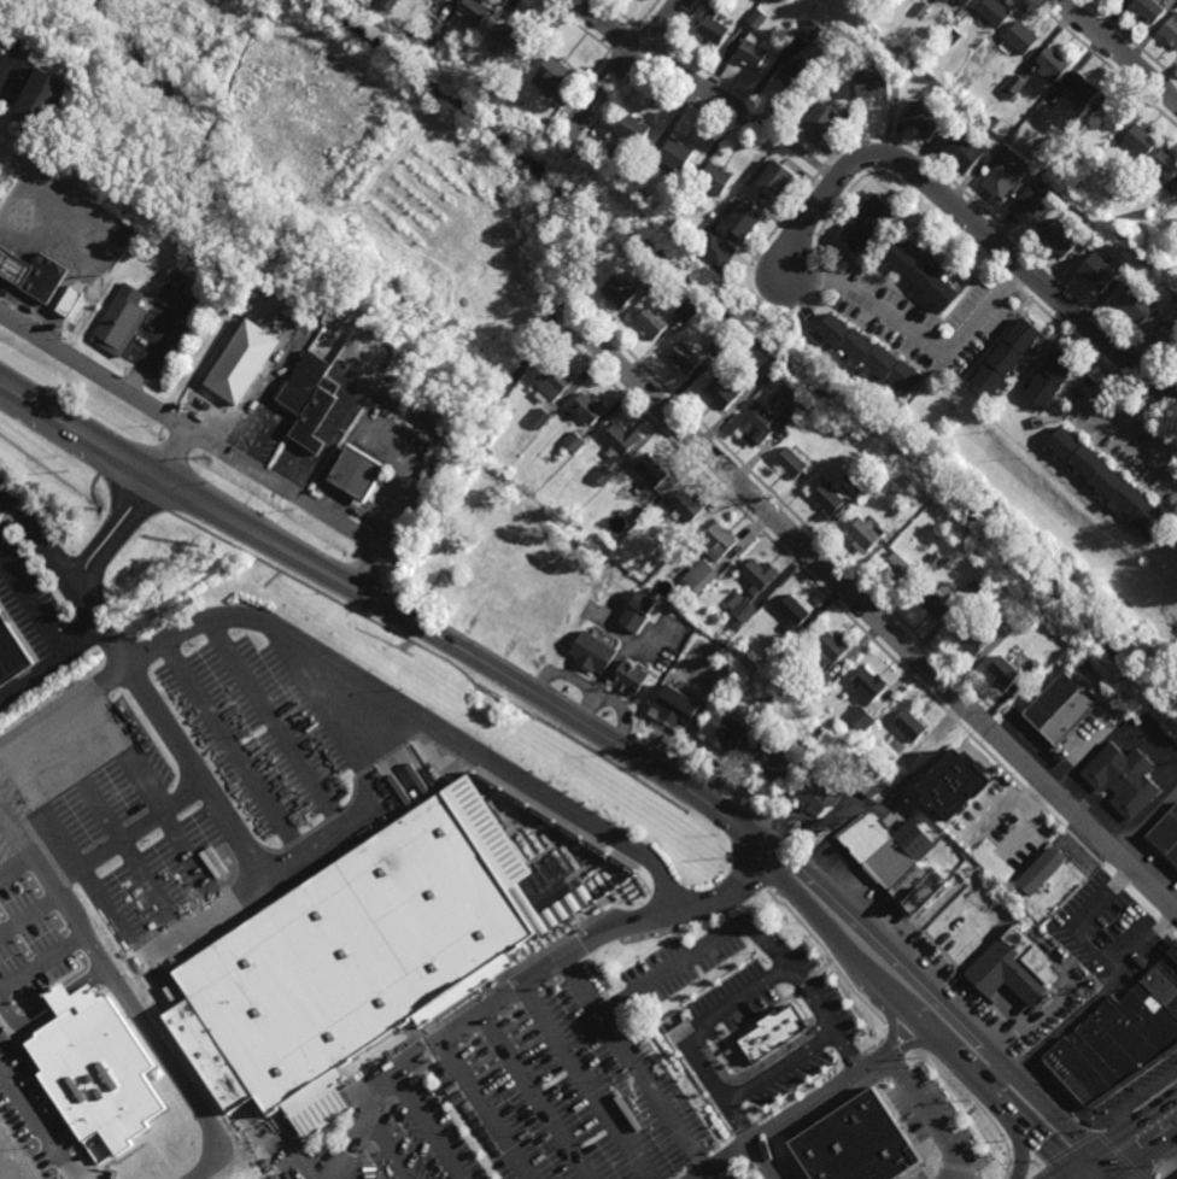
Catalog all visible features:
building: (945, 0)
building: (1120, 0)
building: (942, 1)
building: (962, 1)
building: (388, 4)
building: (1172, 5)
building: (920, 8)
building: (1144, 10)
building: (991, 12)
building: (473, 13)
road: (616, 13)
road: (645, 13)
building: (757, 18)
road: (679, 23)
road: (578, 25)
building: (433, 27)
building: (941, 27)
building: (710, 30)
building: (1171, 31)
building: (813, 33)
building: (950, 36)
road: (646, 37)
road: (622, 39)
building: (1019, 39)
building: (509, 40)
road: (1131, 40)
road: (1119, 51)
building: (749, 53)
road: (650, 58)
road: (621, 60)
road: (1103, 63)
building: (1048, 65)
road: (623, 69)
road: (669, 69)
road: (8, 71)
building: (794, 78)
building: (547, 80)
road: (722, 82)
building: (871, 83)
building: (1013, 86)
building: (1079, 90)
building: (39, 99)
building: (973, 100)
road: (696, 107)
building: (1027, 110)
road: (605, 111)
building: (925, 117)
building: (1106, 117)
building: (821, 119)
road: (778, 125)
building: (631, 133)
building: (1072, 135)
road: (766, 139)
building: (1138, 143)
road: (569, 145)
building: (605, 148)
road: (774, 148)
building: (965, 149)
building: (1040, 156)
road: (806, 157)
building: (674, 158)
road: (569, 164)
building: (1164, 165)
building: (640, 171)
road: (831, 172)
building: (775, 178)
road: (894, 180)
building: (1001, 180)
road: (561, 181)
building: (714, 181)
road: (844, 182)
building: (683, 195)
building: (1029, 205)
road: (262, 215)
building: (744, 219)
road: (810, 221)
building: (863, 223)
building: (1112, 229)
road: (1007, 230)
building: (1060, 237)
building: (95, 246)
building: (716, 251)
road: (1012, 256)
road: (587, 259)
building: (14, 262)
gas station: (14, 262)
road: (754, 264)
road: (453, 269)
building: (1099, 271)
building: (919, 275)
building: (48, 280)
building: (650, 280)
road: (822, 281)
road: (1011, 281)
building: (619, 292)
road: (912, 301)
building: (69, 303)
building: (1137, 305)
road: (37, 309)
road: (558, 310)
building: (687, 310)
road: (564, 313)
road: (569, 319)
building: (123, 323)
building: (648, 324)
road: (1064, 329)
road: (919, 339)
building: (1169, 339)
road: (160, 341)
building: (721, 345)
building: (364, 354)
building: (867, 354)
building: (683, 358)
building: (1005, 360)
building: (762, 370)
road: (930, 370)
building: (239, 371)
road: (1115, 374)
road: (92, 375)
building: (160, 377)
building: (775, 380)
building: (1050, 380)
building: (311, 382)
building: (550, 383)
building: (722, 392)
road: (1149, 403)
building: (586, 410)
building: (794, 415)
building: (540, 418)
building: (321, 422)
road: (1107, 423)
building: (755, 426)
building: (619, 440)
road: (1093, 440)
building: (574, 442)
building: (890, 463)
building: (790, 464)
building: (650, 471)
building: (603, 476)
building: (364, 477)
building: (1106, 485)
road: (281, 492)
building: (862, 492)
building: (826, 499)
road: (1, 500)
building: (685, 506)
building: (873, 506)
road: (363, 515)
building: (902, 521)
road: (117, 528)
building: (863, 536)
building: (678, 540)
building: (715, 542)
building: (1176, 544)
building: (1176, 547)
building: (933, 563)
building: (896, 569)
building: (697, 576)
building: (757, 576)
road: (66, 577)
building: (976, 586)
road: (831, 596)
road: (880, 600)
building: (938, 605)
road: (386, 606)
building: (740, 609)
building: (636, 614)
building: (794, 614)
road: (30, 616)
road: (874, 616)
road: (19, 634)
building: (971, 641)
building: (828, 649)
building: (779, 650)
building: (13, 653)
building: (709, 653)
building: (1023, 661)
building: (587, 662)
road: (52, 667)
building: (1001, 673)
road: (356, 674)
building: (627, 676)
building: (819, 680)
building: (867, 686)
building: (673, 706)
building: (1059, 711)
building: (859, 717)
building: (908, 727)
building: (720, 733)
building: (913, 747)
road: (232, 752)
building: (769, 761)
building: (1123, 782)
building: (873, 785)
building: (953, 785)
parking lot: (166, 798)
building: (812, 798)
road: (1120, 835)
building: (1166, 835)
road: (125, 837)
building: (862, 840)
road: (1103, 851)
building: (898, 857)
road: (303, 862)
road: (14, 867)
building: (1040, 870)
road: (759, 881)
building: (907, 885)
building: (921, 893)
road: (660, 909)
road: (923, 933)
road: (1170, 934)
building: (353, 950)
road: (1097, 952)
road: (697, 954)
road: (42, 964)
building: (1012, 969)
road: (529, 981)
road: (122, 993)
road: (733, 995)
road: (931, 997)
road: (476, 1004)
road: (52, 1005)
road: (446, 1010)
road: (910, 1013)
road: (892, 1025)
building: (769, 1027)
road: (434, 1033)
road: (895, 1033)
road: (1056, 1036)
building: (1119, 1038)
road: (917, 1044)
road: (1011, 1056)
road: (713, 1062)
road: (639, 1067)
building: (94, 1069)
road: (783, 1069)
road: (756, 1071)
road: (587, 1083)
road: (535, 1097)
road: (1140, 1099)
road: (1103, 1101)
road: (801, 1109)
road: (486, 1110)
road: (917, 1115)
road: (932, 1116)
road: (321, 1120)
road: (37, 1122)
road: (1087, 1122)
road: (431, 1126)
road: (1122, 1132)
building: (854, 1140)
road: (1019, 1146)
road: (388, 1150)
road: (1067, 1150)
traffic signals: (1093, 1152)
road: (1124, 1152)
road: (1169, 1155)
road: (947, 1156)
road: (1146, 1157)
road: (763, 1161)
road: (965, 1163)
road: (1024, 1166)
road: (1103, 1166)
road: (926, 1167)
traffic signals: (1068, 1168)
road: (1154, 1169)
road: (979, 1172)
road: (350, 1173)
road: (1061, 1173)
road: (1072, 1173)
road: (702, 1174)
road: (1043, 1174)
traffic signals: (1114, 1178)
building: (1176, 1178)

